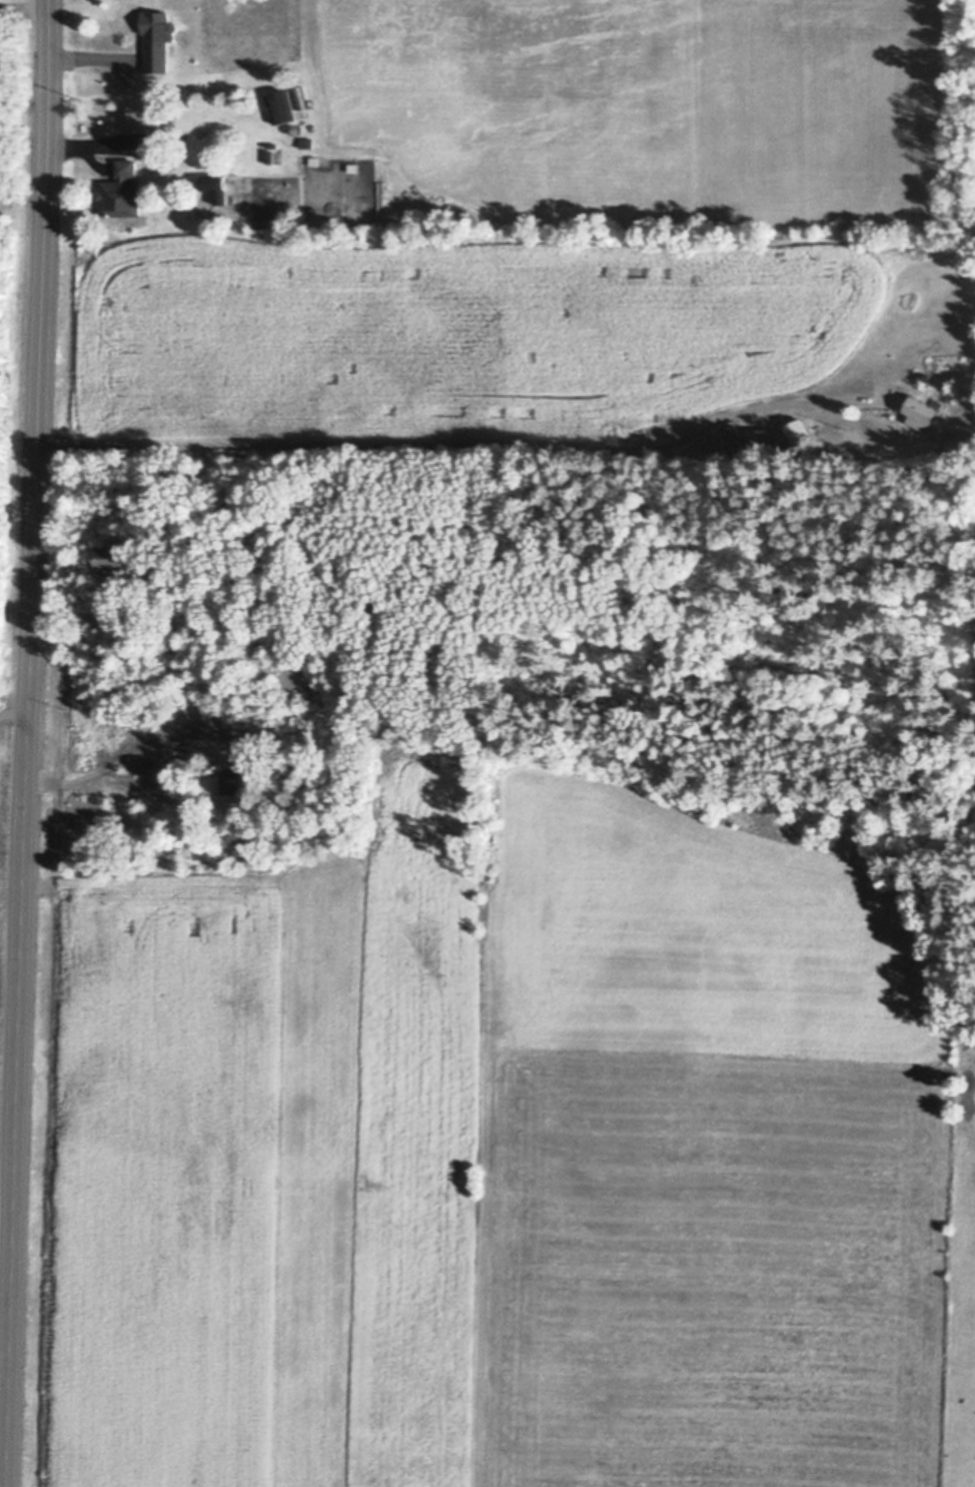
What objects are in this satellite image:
building: (157, 41)
road: (94, 61)
building: (299, 97)
building: (280, 107)
building: (144, 120)
building: (293, 129)
building: (306, 143)
building: (269, 157)
building: (313, 161)
building: (215, 189)
building: (121, 193)
building: (923, 416)
building: (663, 421)
building: (799, 433)
building: (725, 444)
building: (766, 444)
building: (951, 448)
road: (451, 450)
building: (115, 550)
road: (26, 743)
building: (253, 755)
building: (232, 776)

